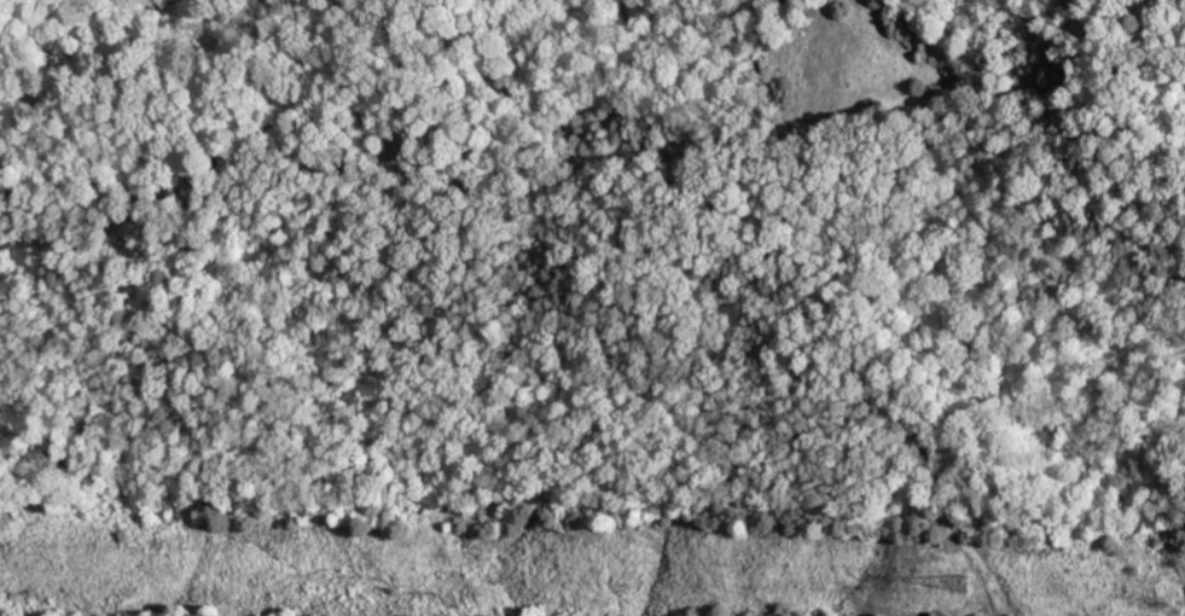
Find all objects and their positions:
power tower: (959, 583)

